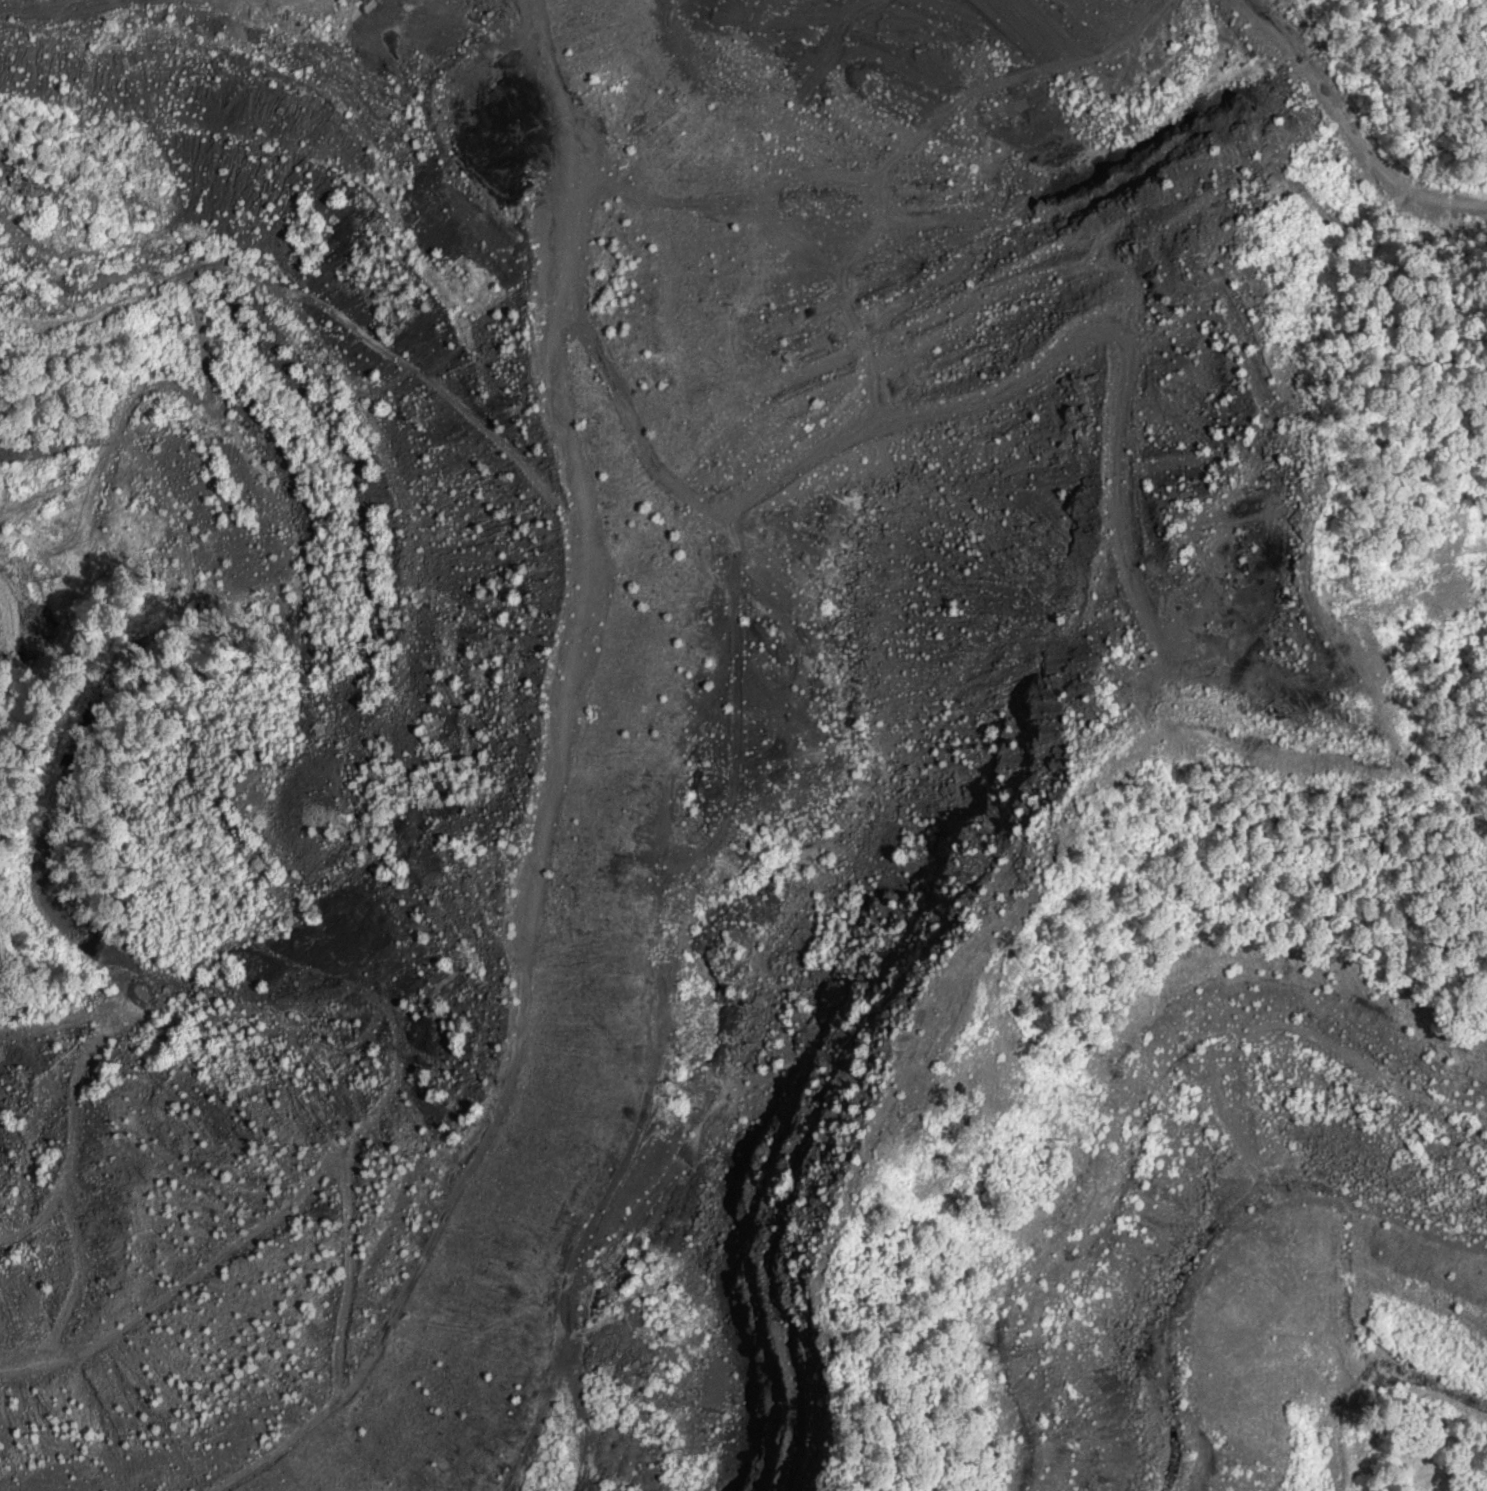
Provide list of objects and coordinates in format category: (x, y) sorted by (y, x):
road: (704, 199)

